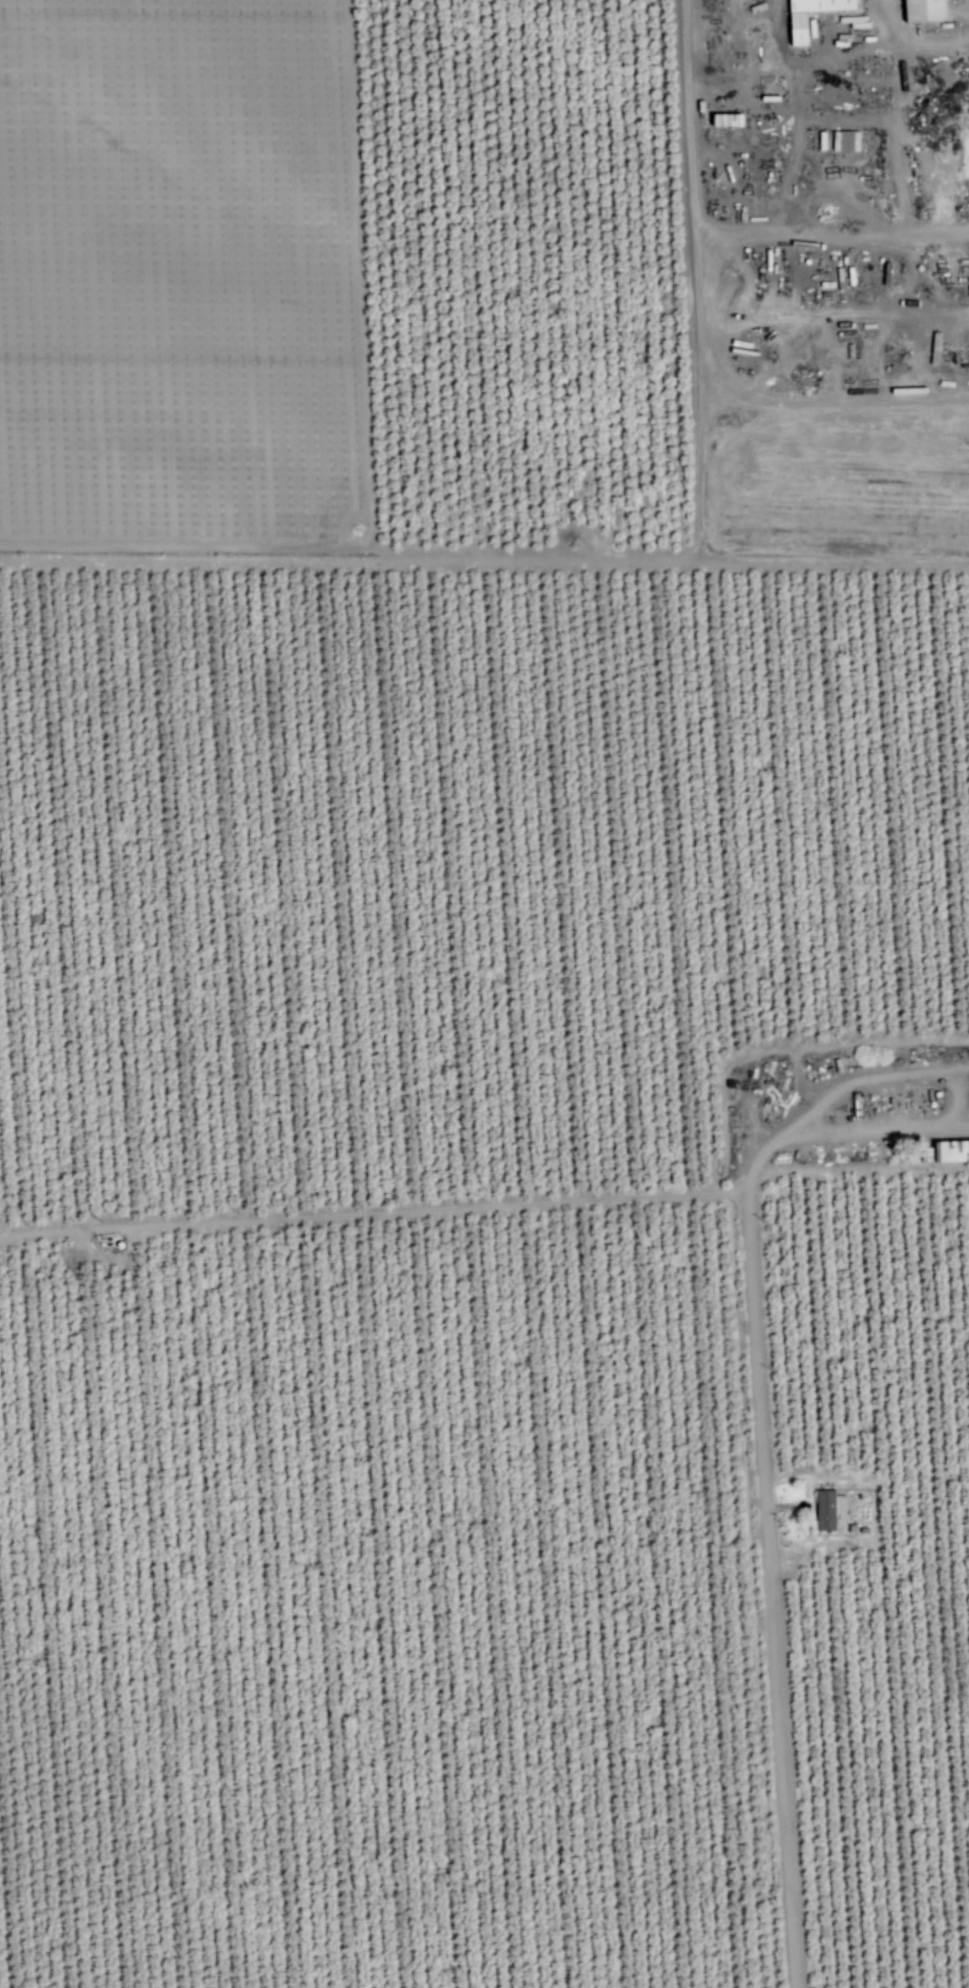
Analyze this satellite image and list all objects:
building: (919, 10)
building: (794, 28)
building: (724, 120)
building: (844, 141)
road: (720, 235)
road: (949, 1070)
road: (951, 1086)
building: (951, 1150)
building: (827, 1509)
road: (769, 1559)

